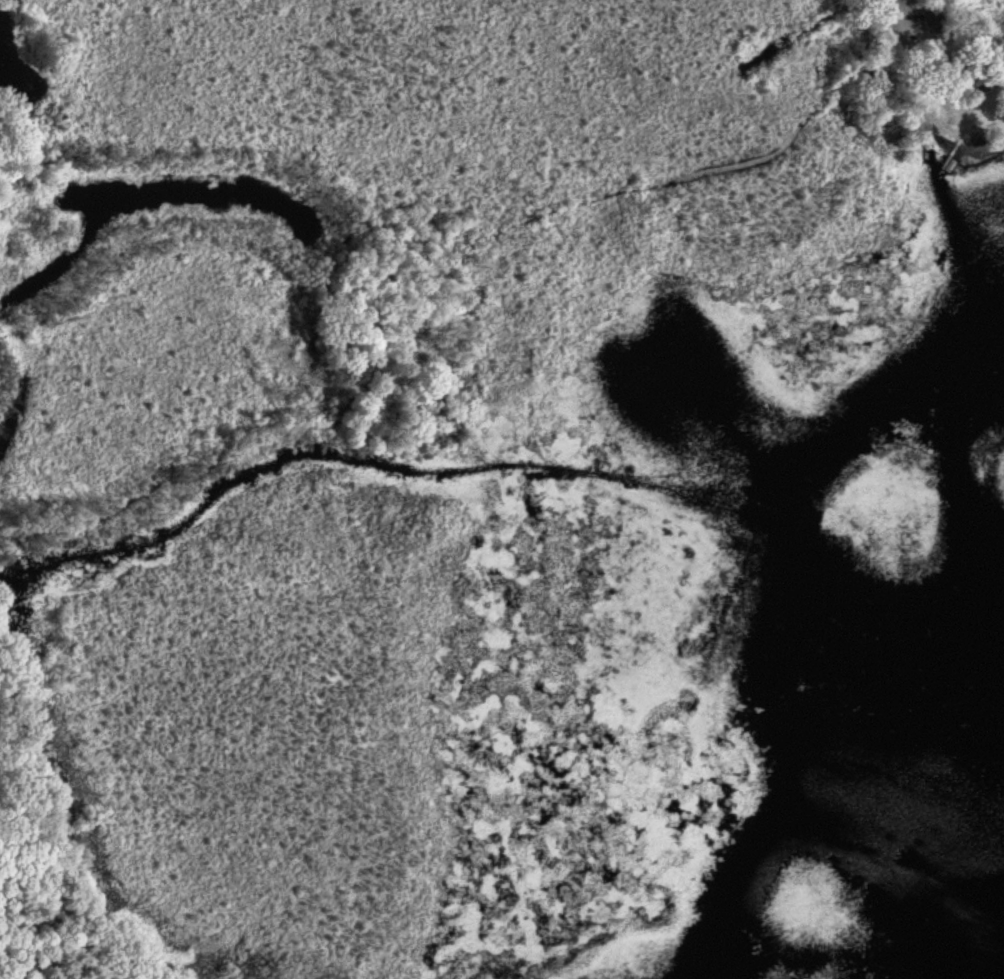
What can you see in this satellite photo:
road: (888, 23)

